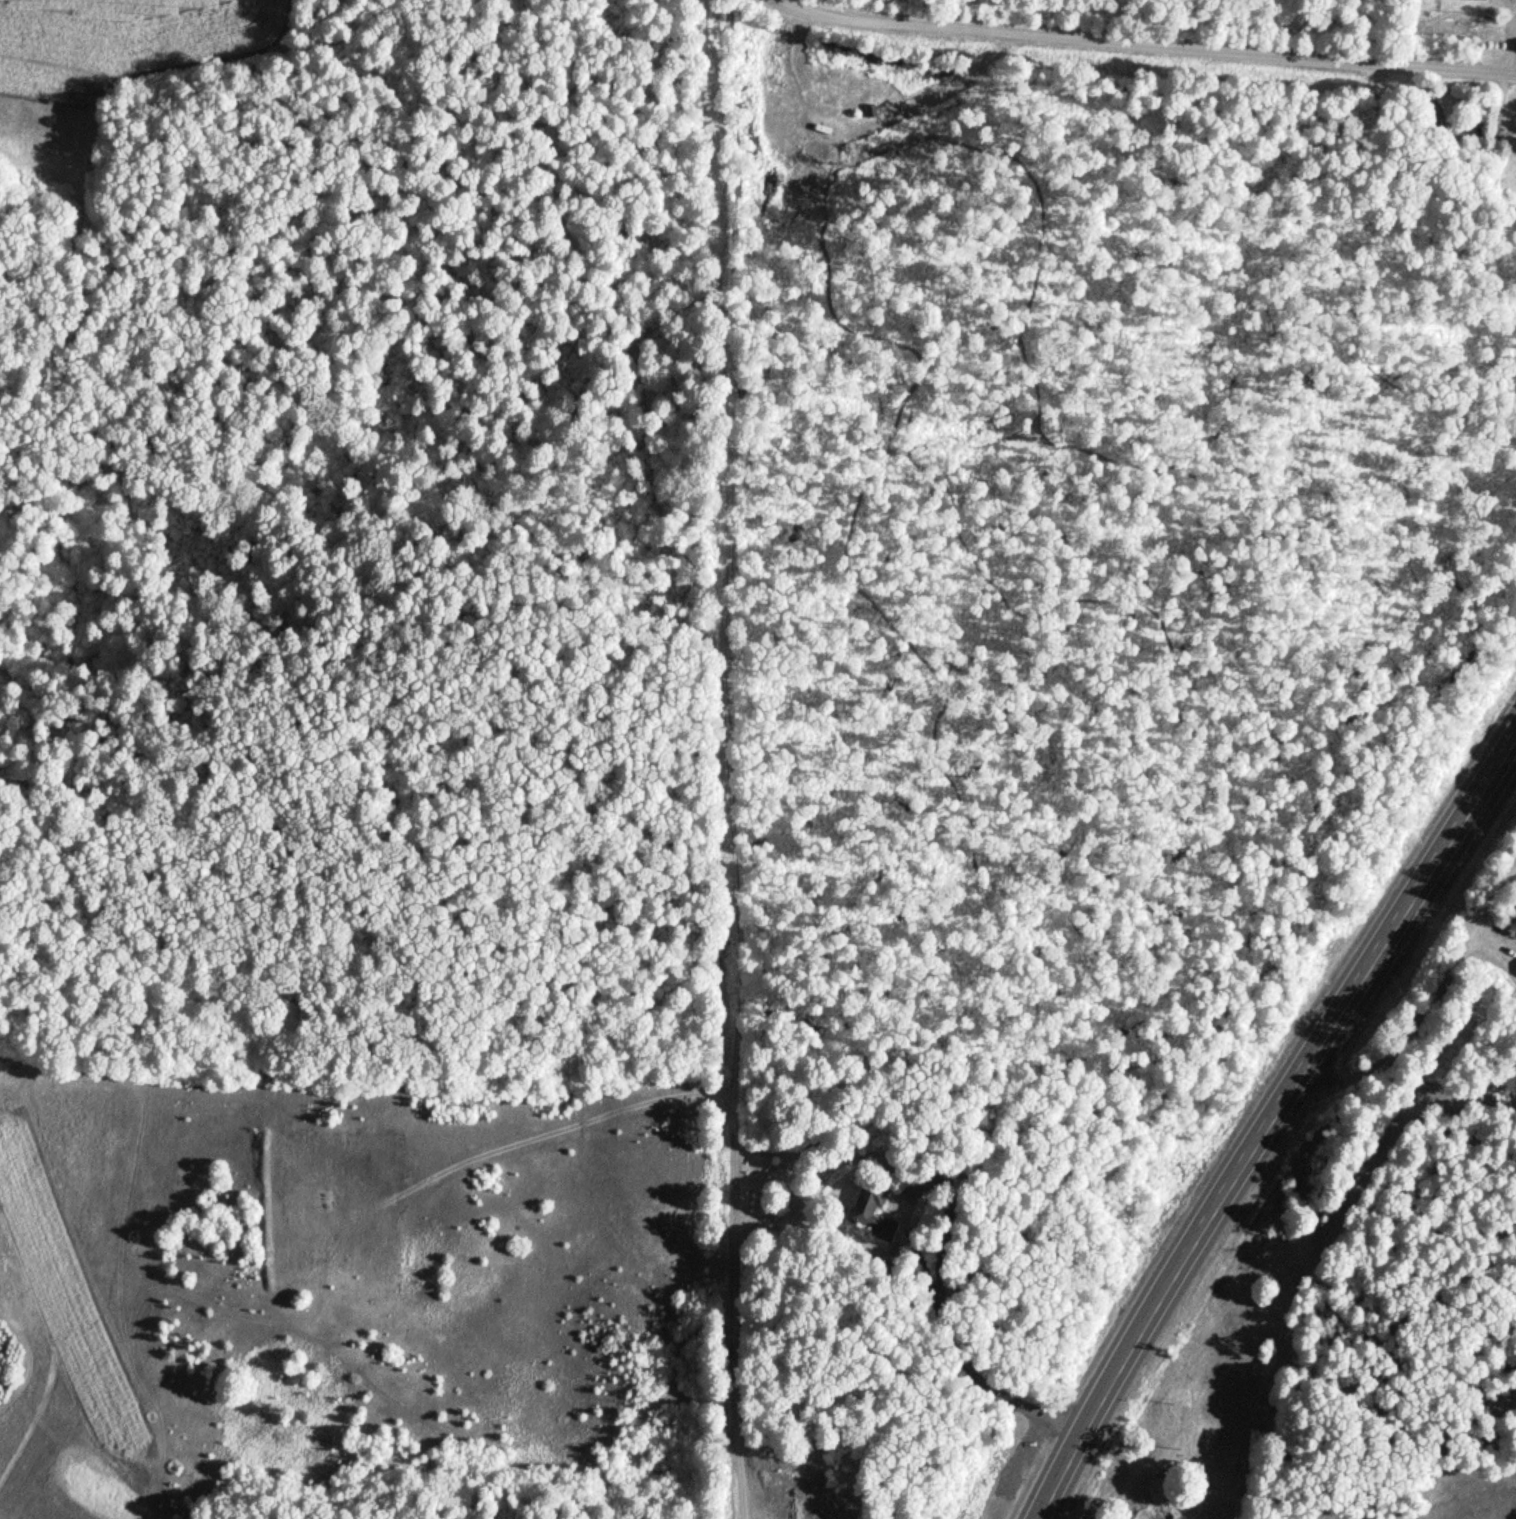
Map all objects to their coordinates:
road: (1152, 42)
building: (1509, 141)
road: (719, 757)
road: (1267, 1115)
building: (871, 1209)
building: (1020, 1455)

